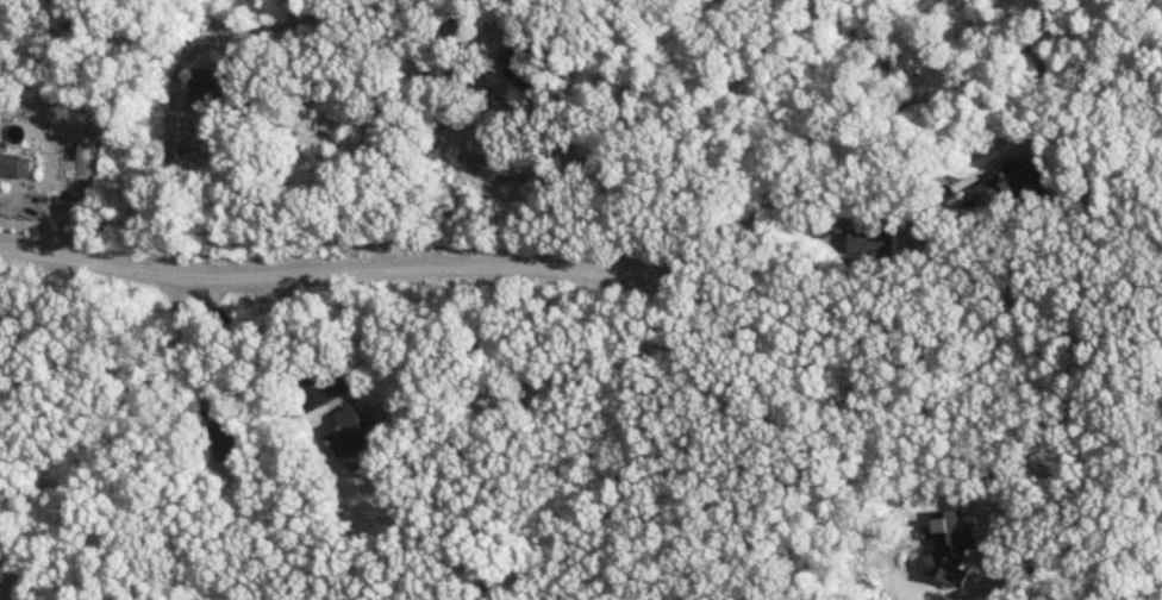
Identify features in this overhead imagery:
building: (218, 85)
road: (171, 90)
road: (877, 158)
building: (14, 167)
road: (594, 170)
building: (1010, 185)
building: (873, 242)
road: (320, 271)
road: (245, 337)
road: (748, 423)
building: (351, 435)
building: (225, 443)
building: (930, 575)

